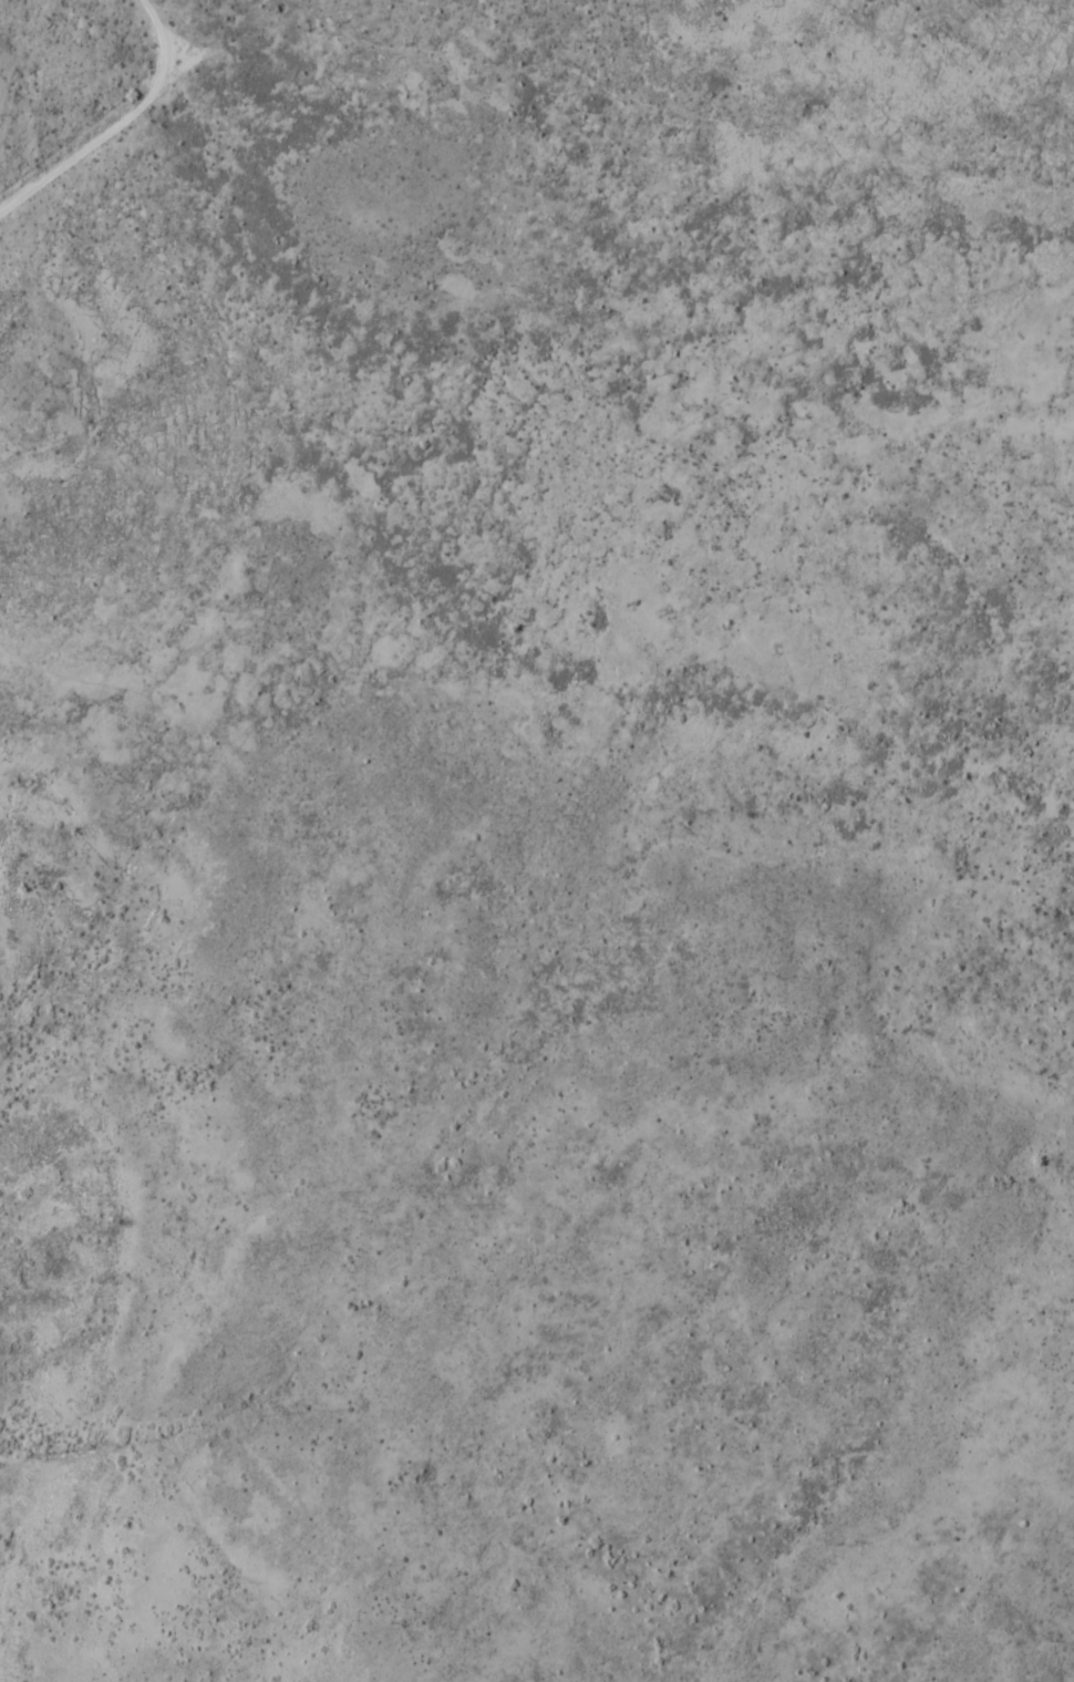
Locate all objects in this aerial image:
road: (164, 32)
road: (140, 107)

